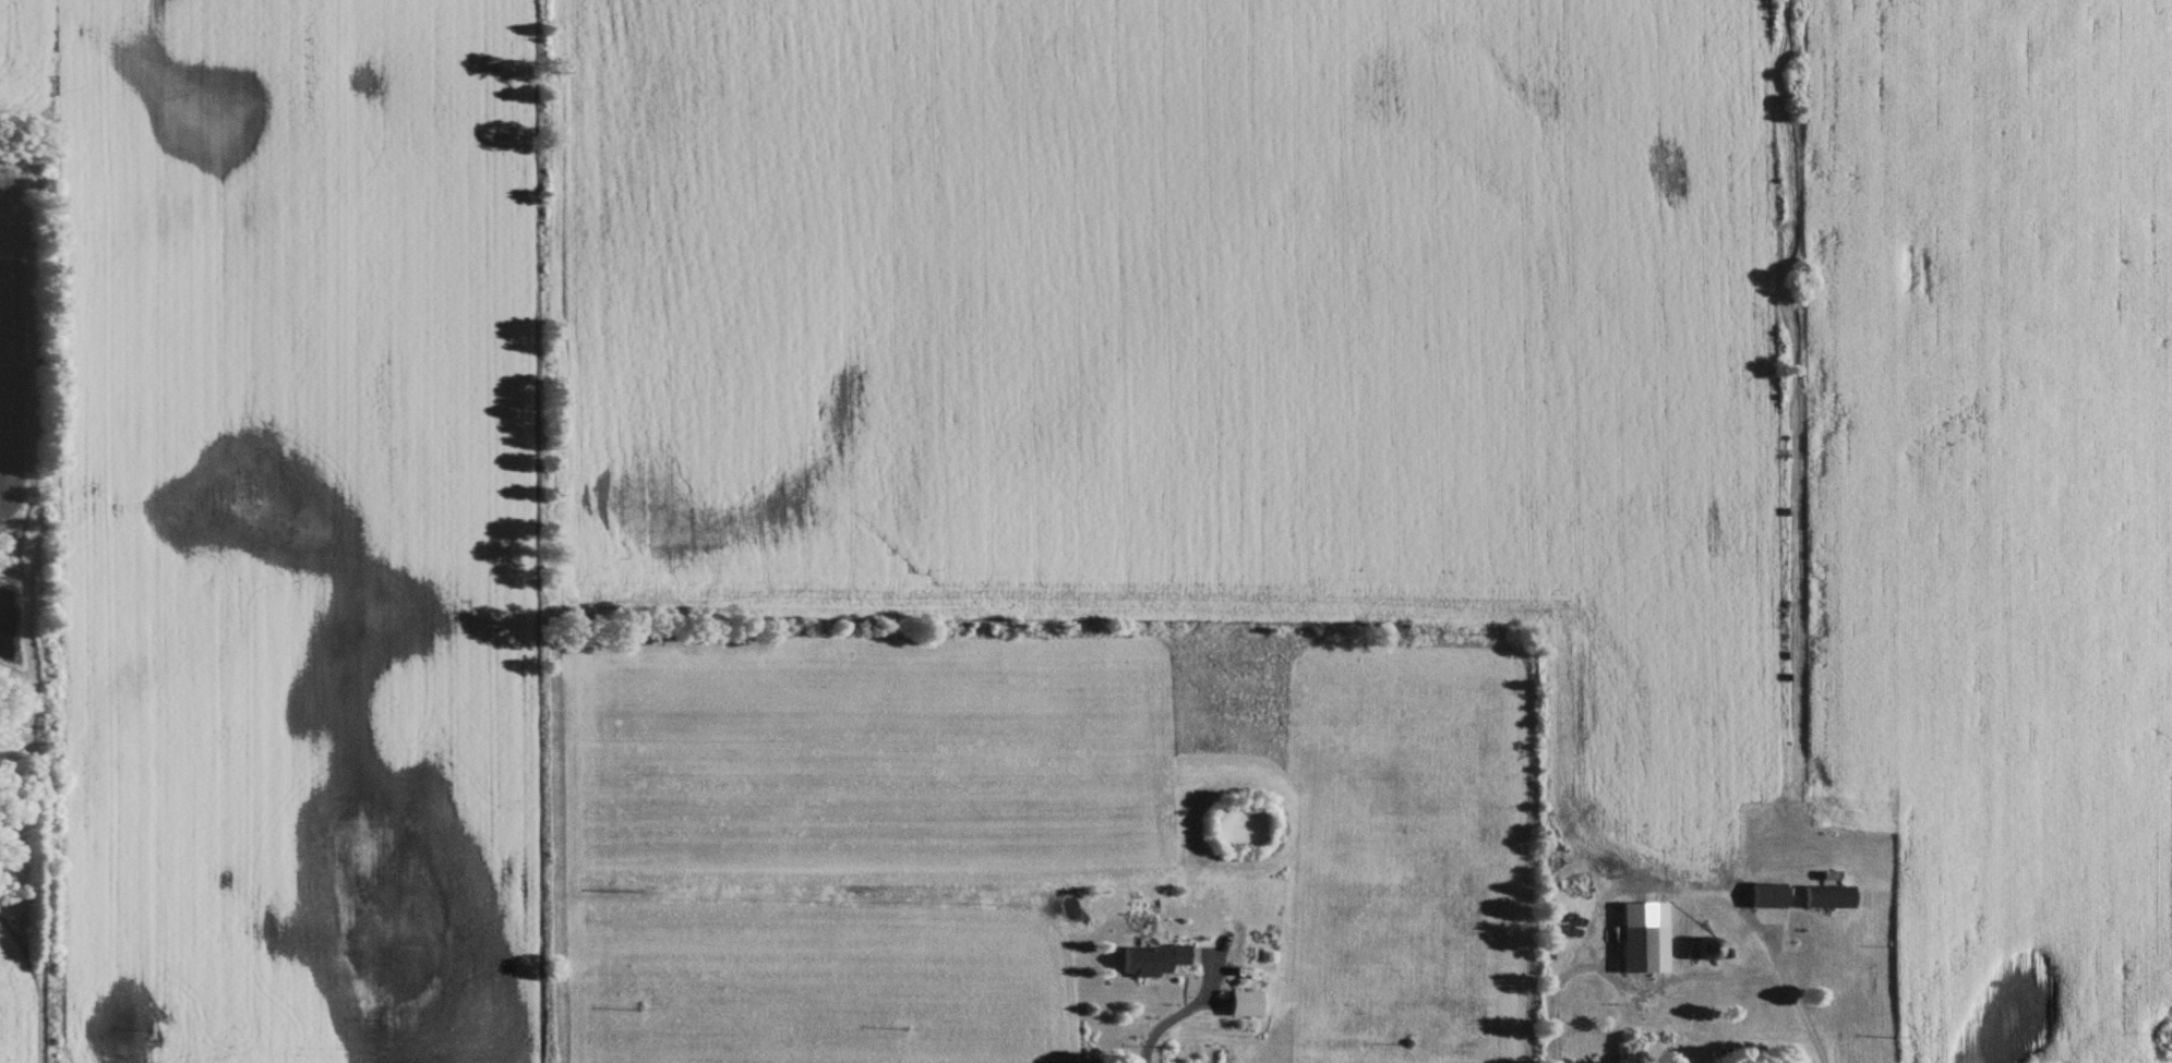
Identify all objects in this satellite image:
building: (1766, 897)
building: (1826, 899)
building: (1643, 952)
building: (1151, 962)
road: (1793, 1001)
building: (1244, 1005)
road: (1180, 1015)

